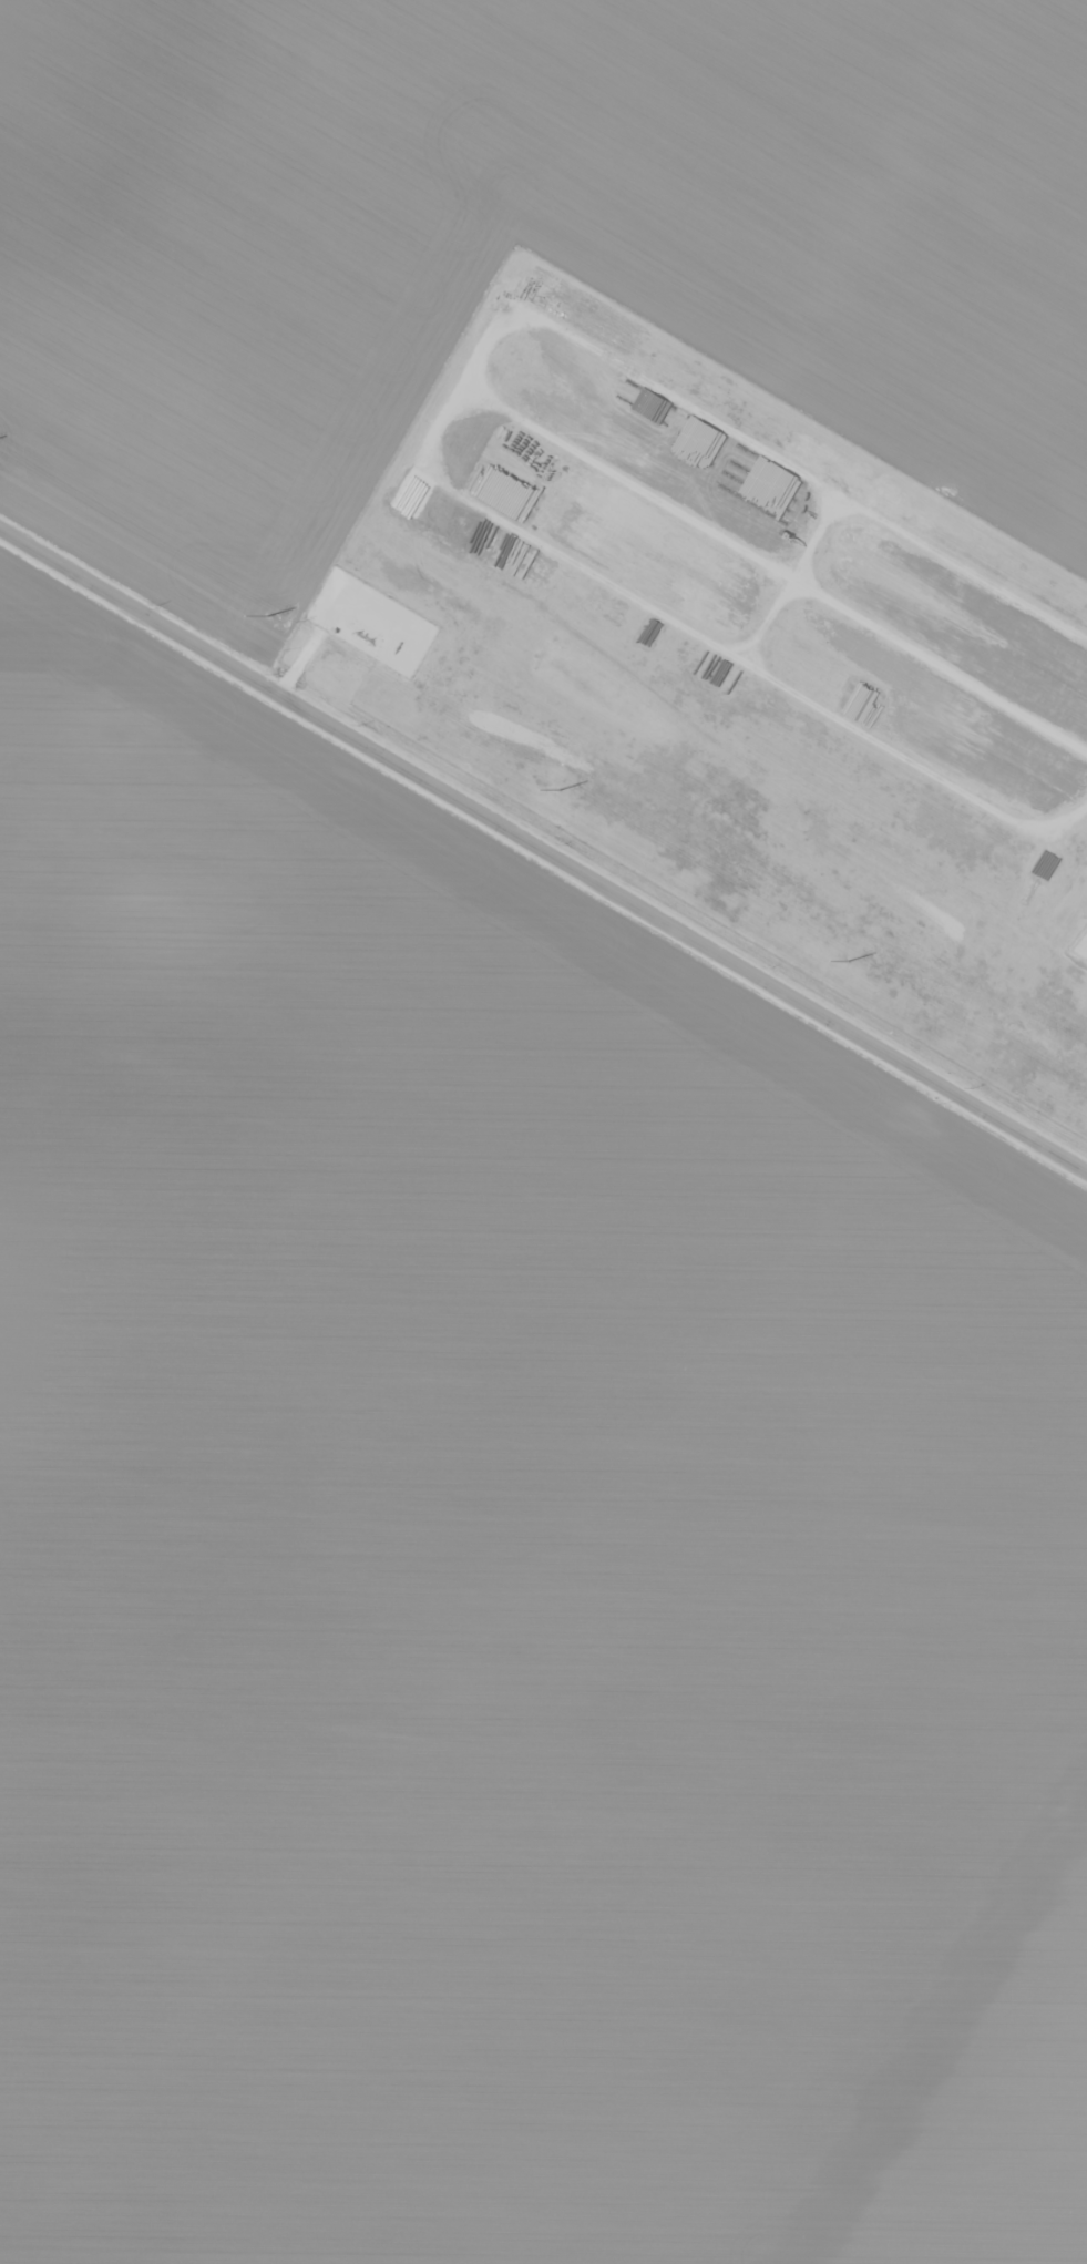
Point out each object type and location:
power tower: (265, 616)
power tower: (558, 791)
road: (543, 853)
power tower: (847, 961)

